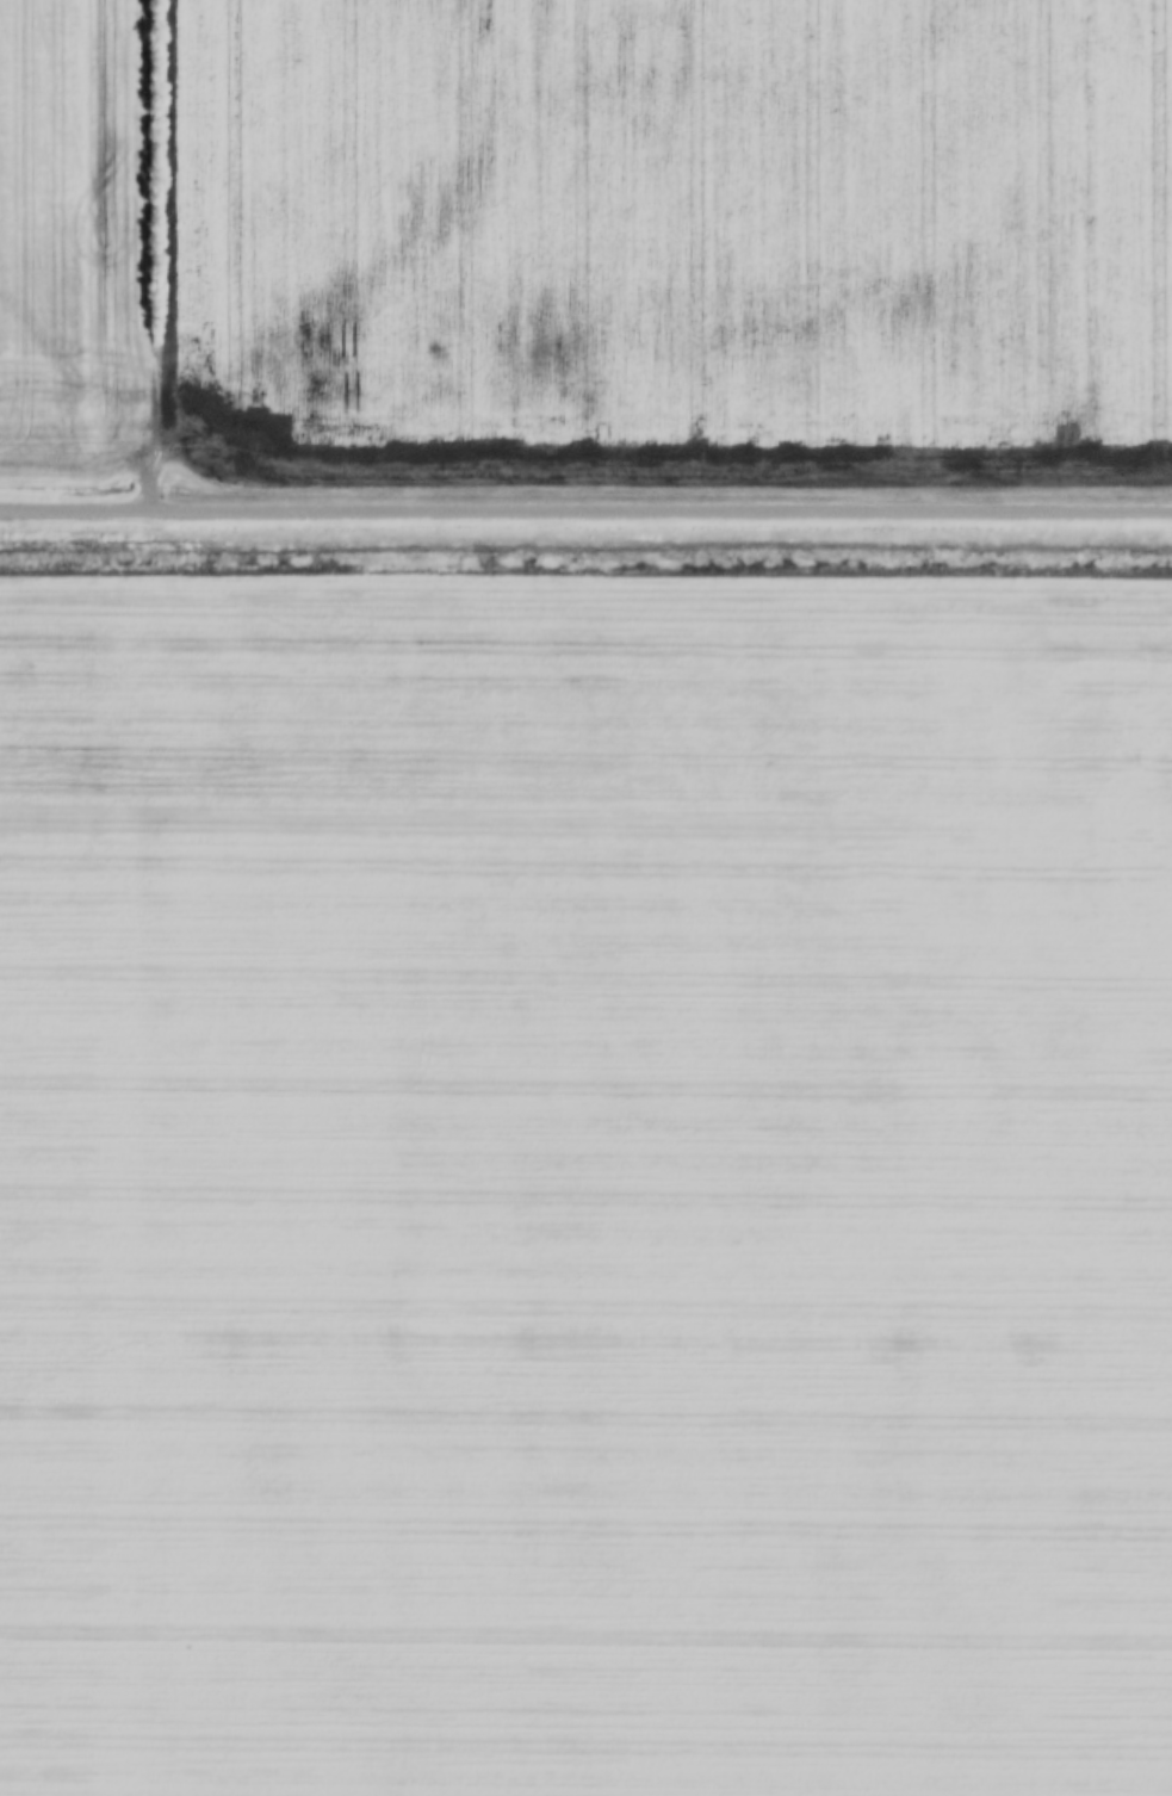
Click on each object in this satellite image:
road: (585, 512)

